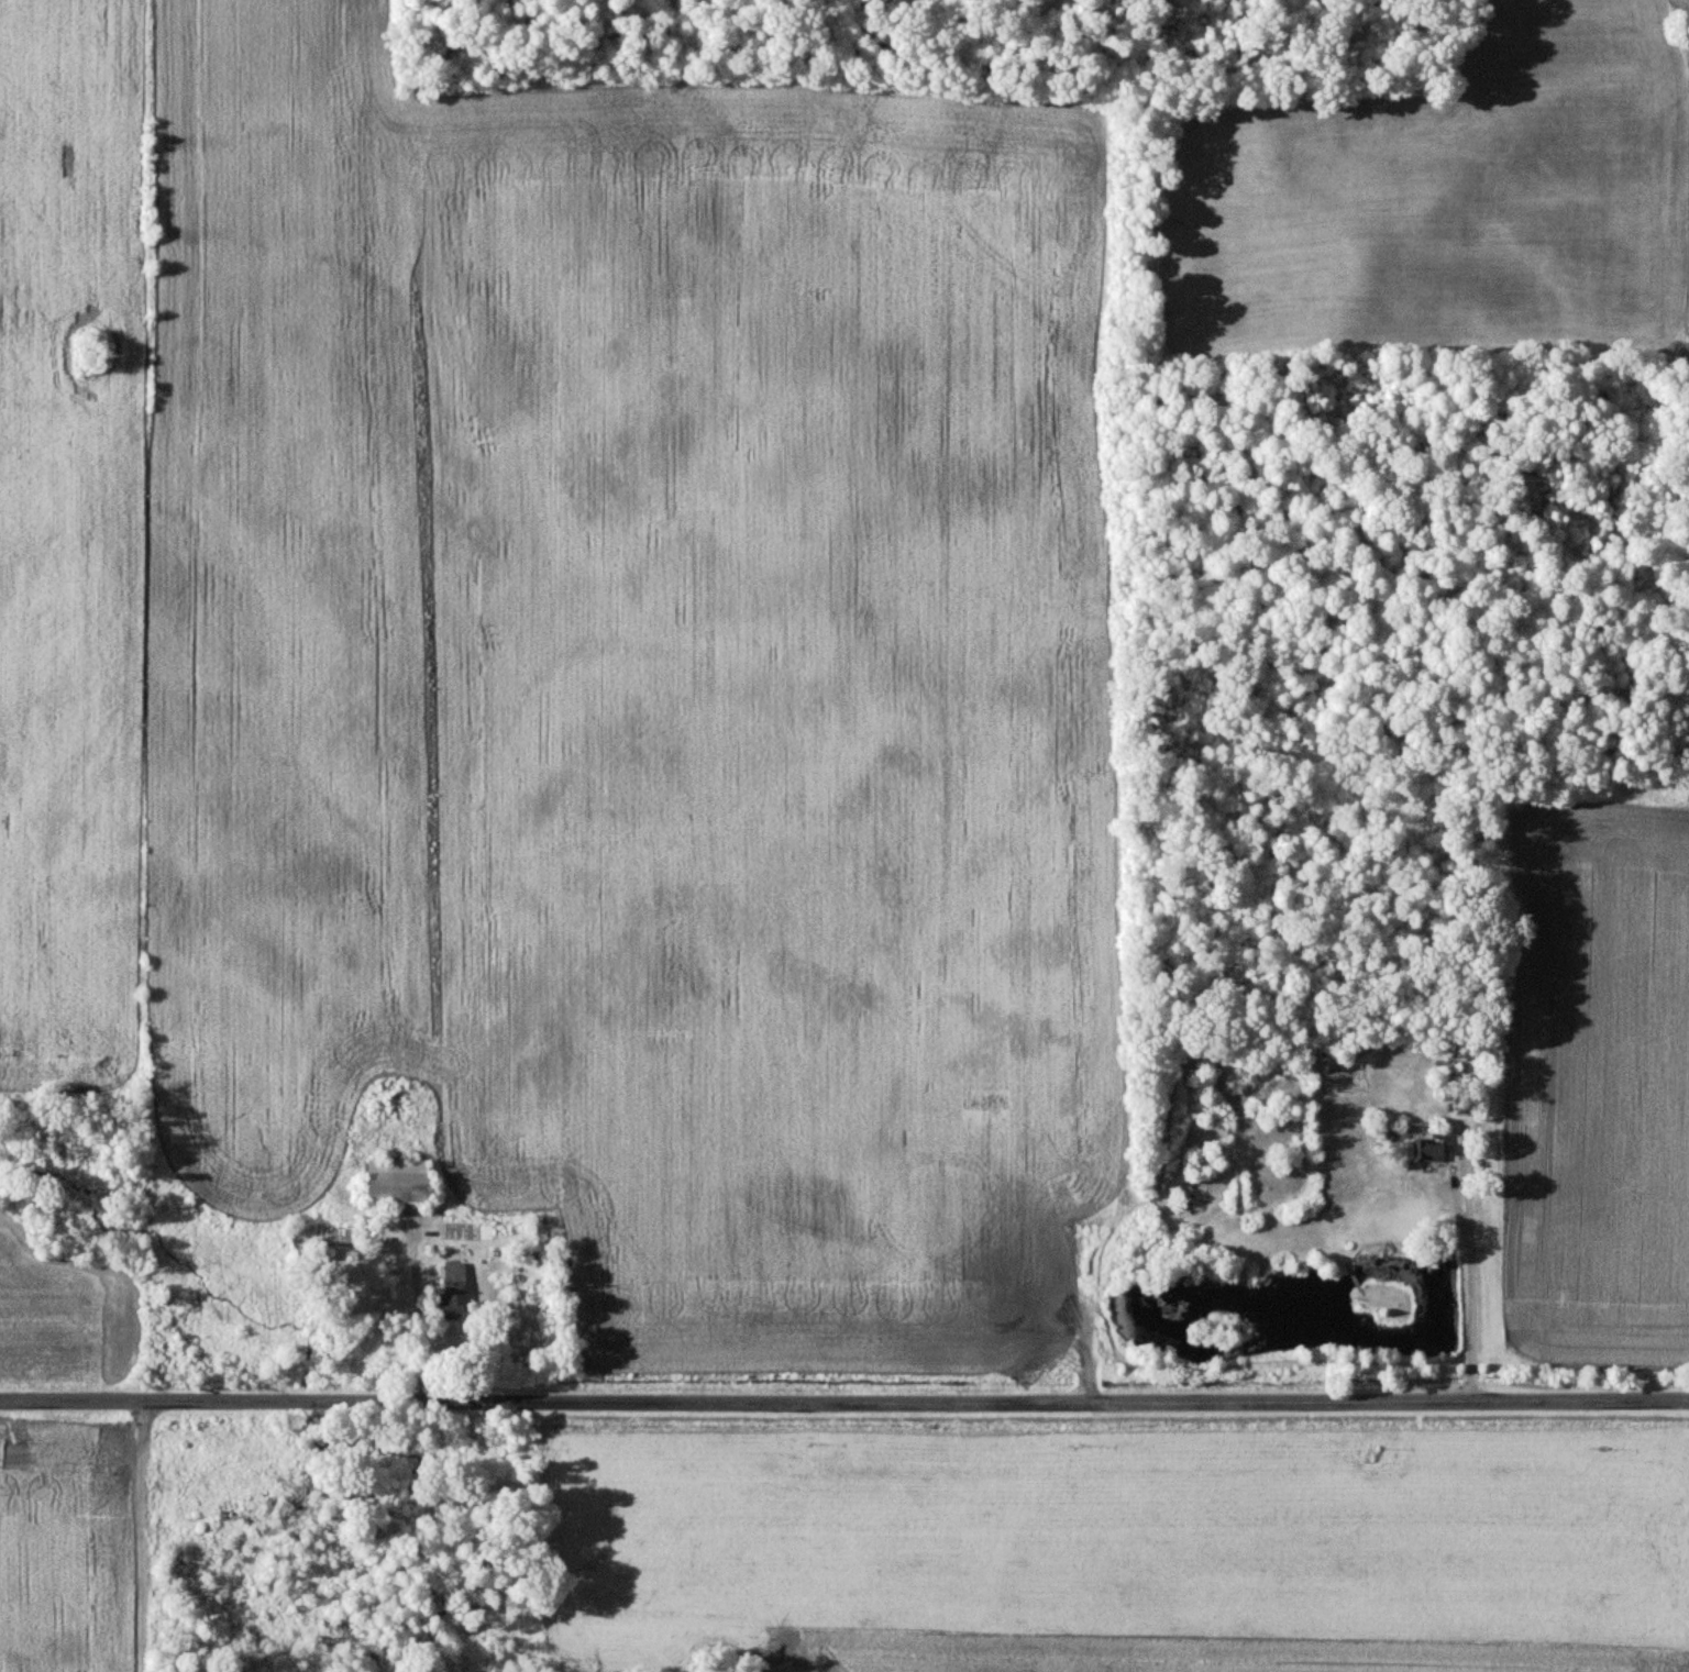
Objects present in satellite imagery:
building: (1423, 1150)
building: (404, 1180)
building: (457, 1291)
road: (843, 1398)

